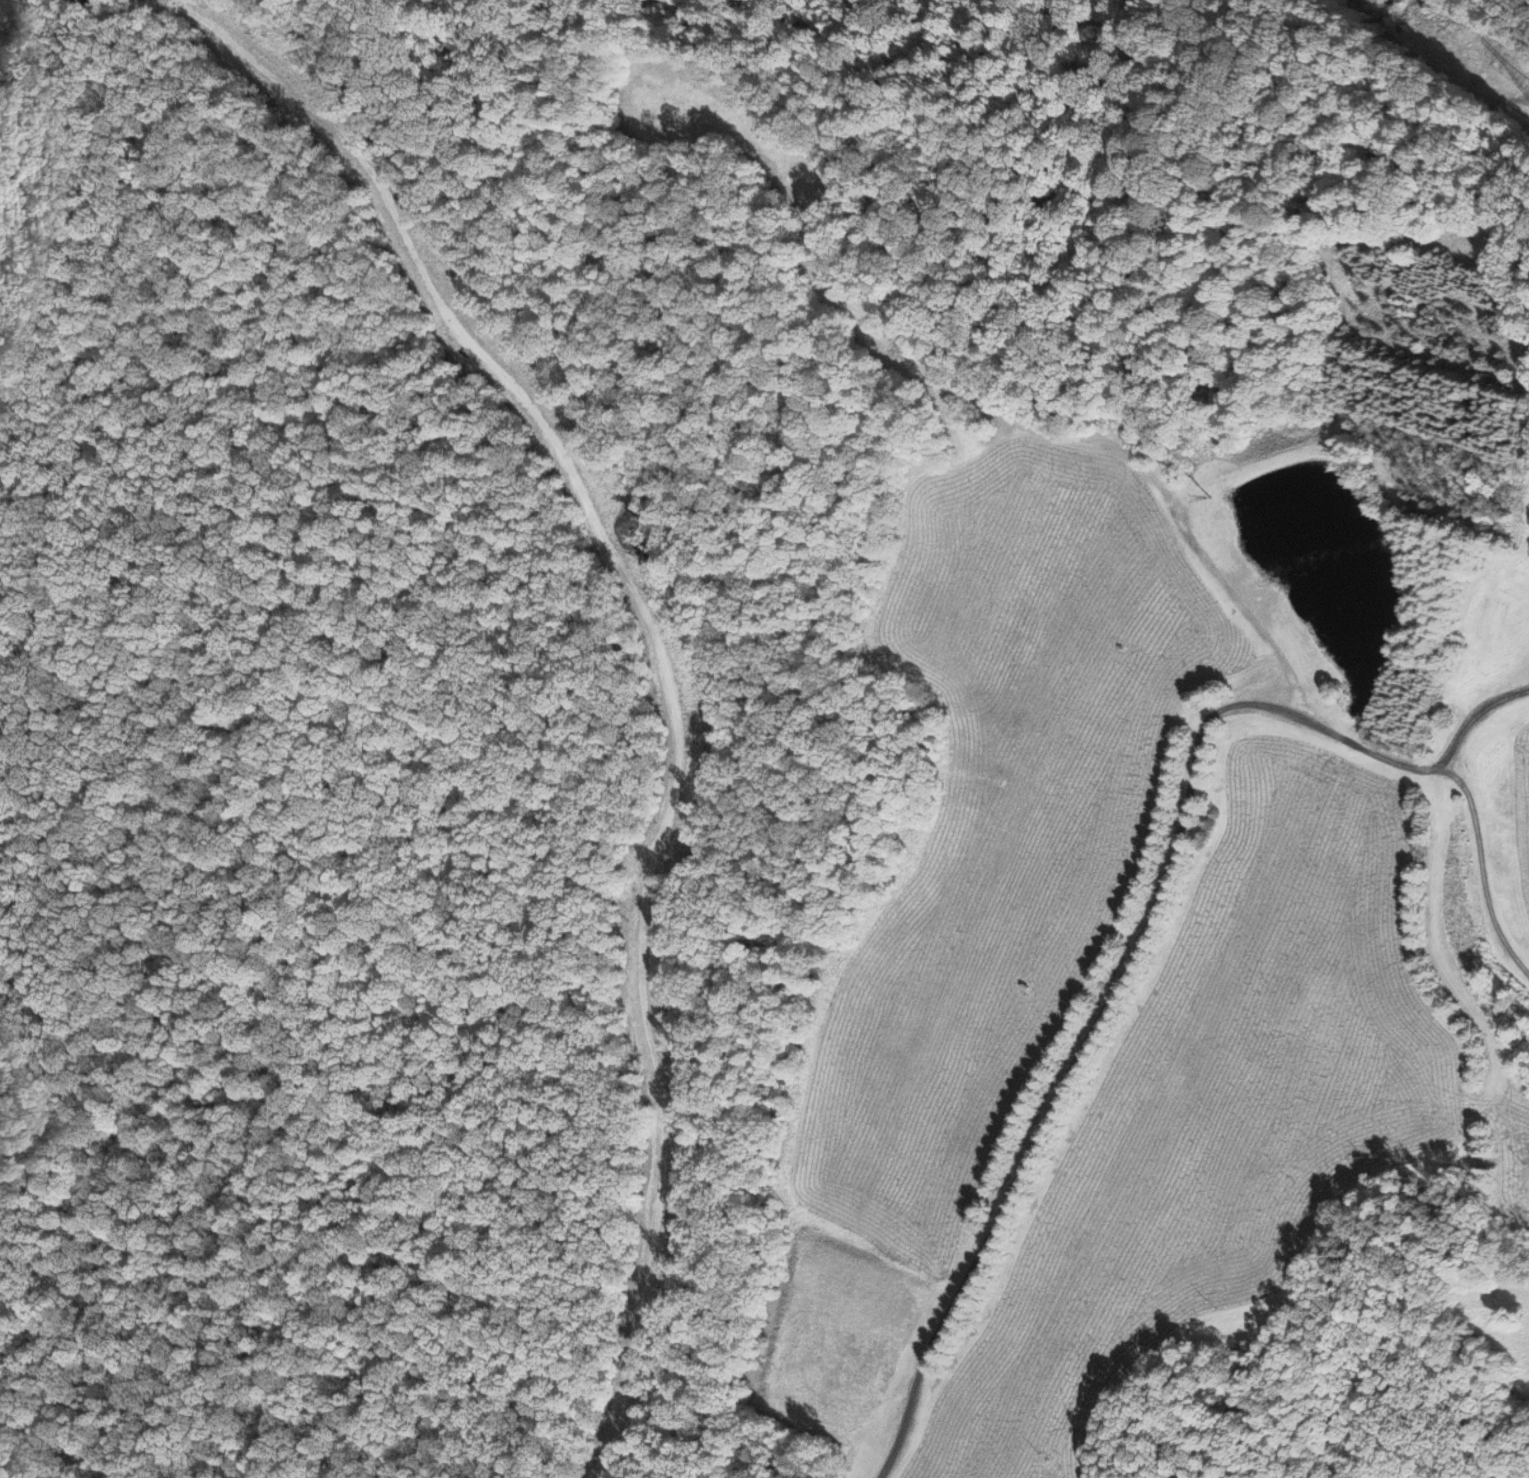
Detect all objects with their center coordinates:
building: (1213, 209)
road: (655, 655)
road: (1473, 716)
road: (1161, 885)

